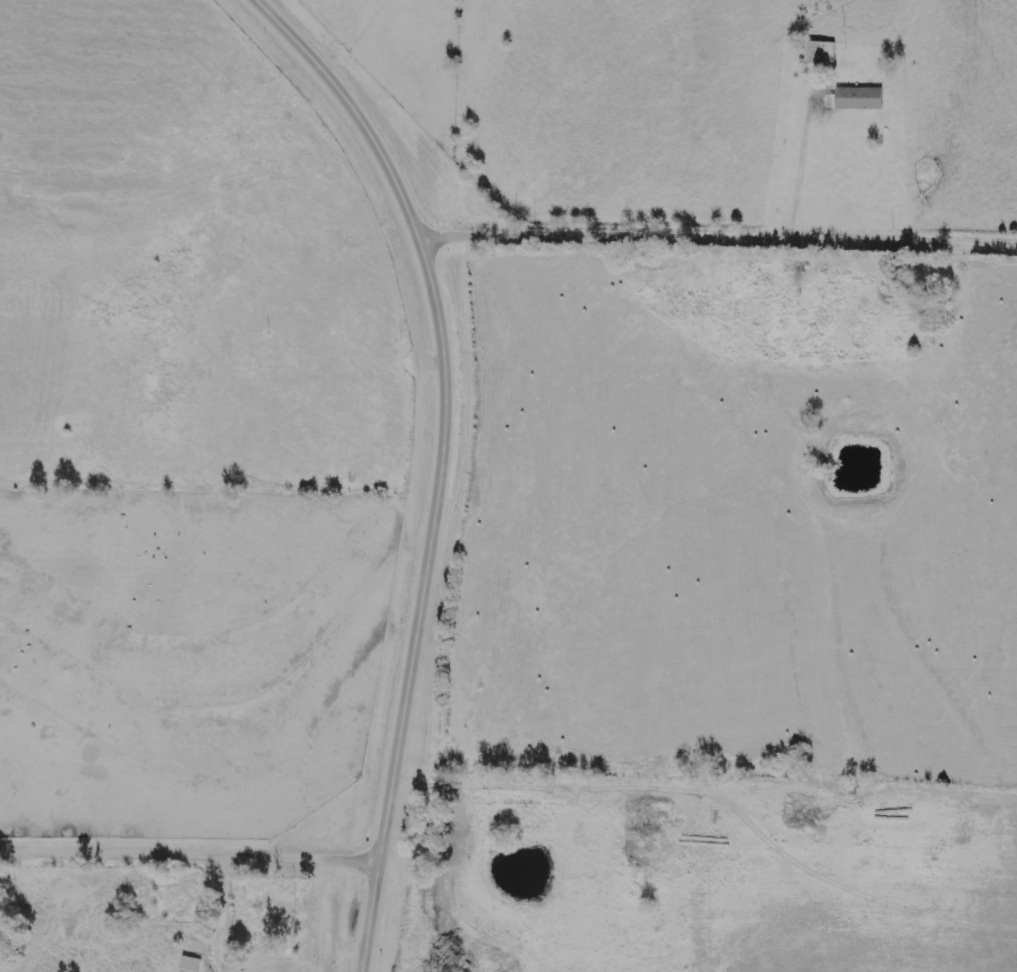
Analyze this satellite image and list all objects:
road: (348, 35)
building: (821, 53)
building: (859, 99)
road: (799, 157)
road: (720, 231)
building: (936, 313)
road: (443, 461)
road: (554, 773)
road: (189, 847)
road: (222, 886)
building: (181, 898)
building: (282, 913)
building: (230, 946)
building: (217, 953)
building: (193, 964)

